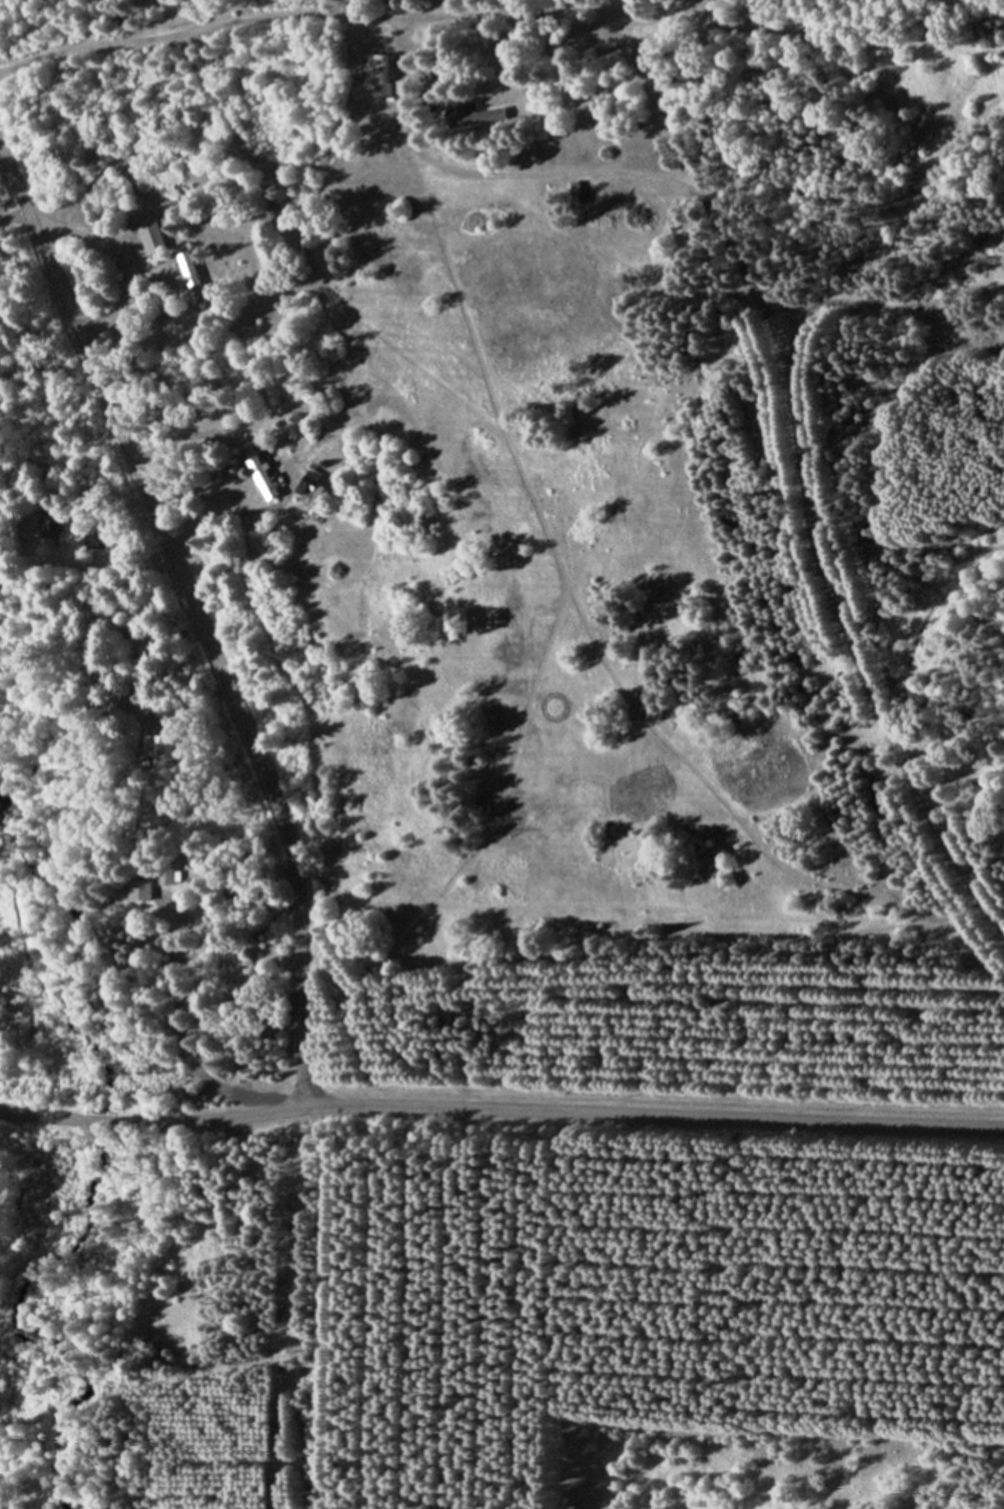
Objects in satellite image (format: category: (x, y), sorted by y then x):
road: (589, 23)
building: (380, 74)
building: (474, 117)
road: (692, 190)
building: (577, 194)
building: (153, 240)
road: (136, 256)
building: (190, 273)
building: (262, 473)
building: (313, 487)
building: (53, 521)
building: (96, 541)
road: (197, 620)
building: (157, 747)
building: (170, 875)
building: (141, 889)
road: (501, 1110)

